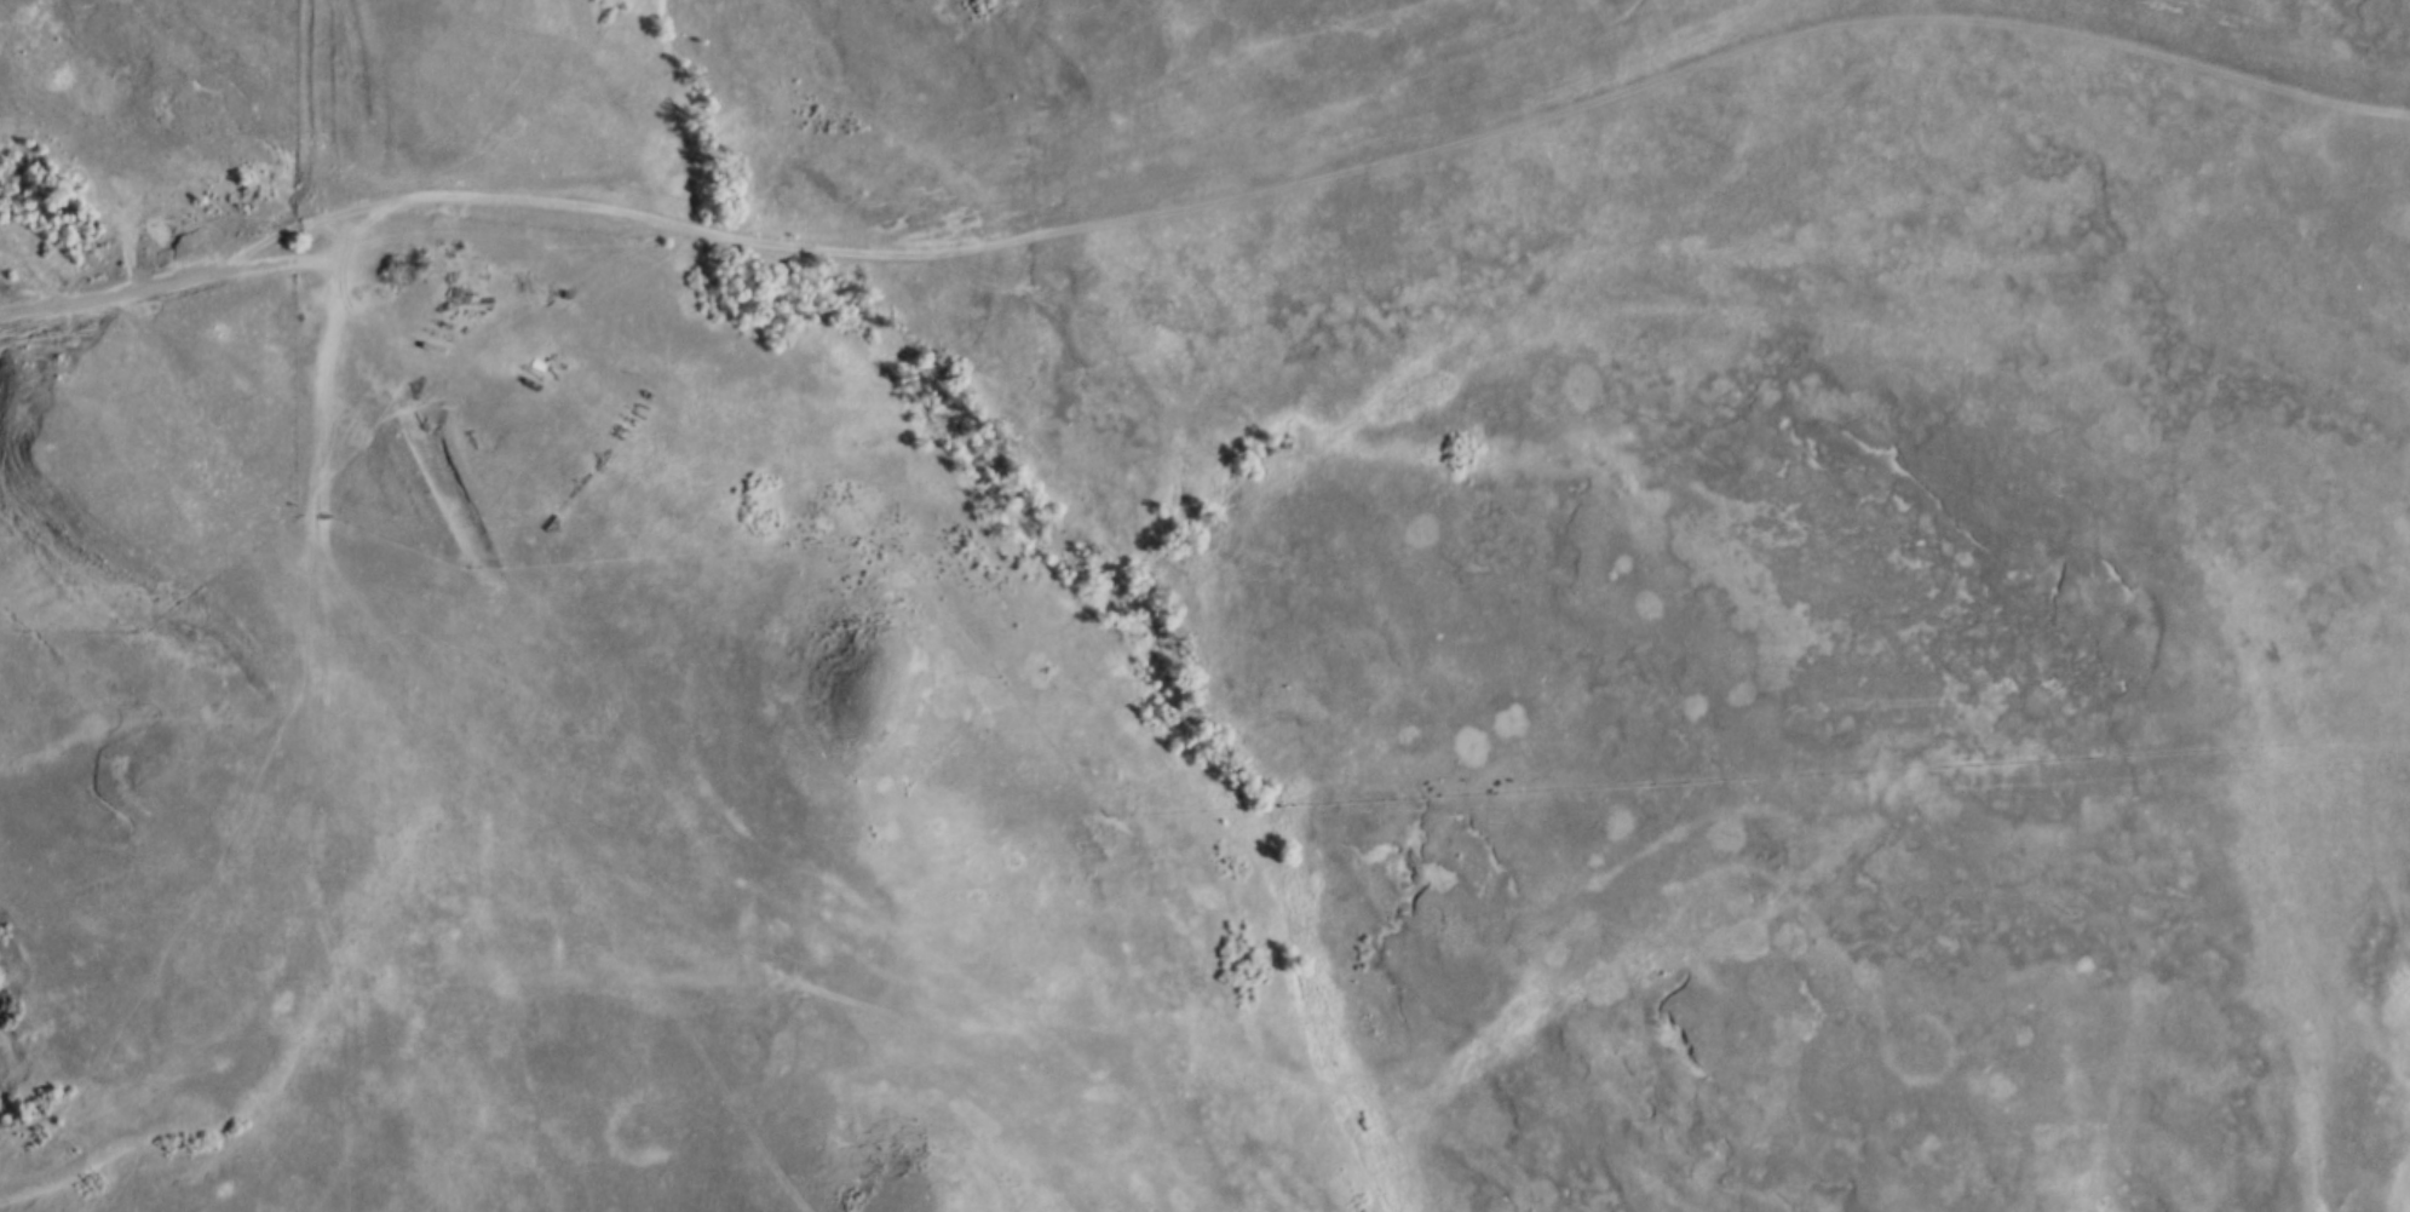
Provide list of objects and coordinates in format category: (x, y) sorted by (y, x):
road: (1750, 15)
road: (1207, 189)

